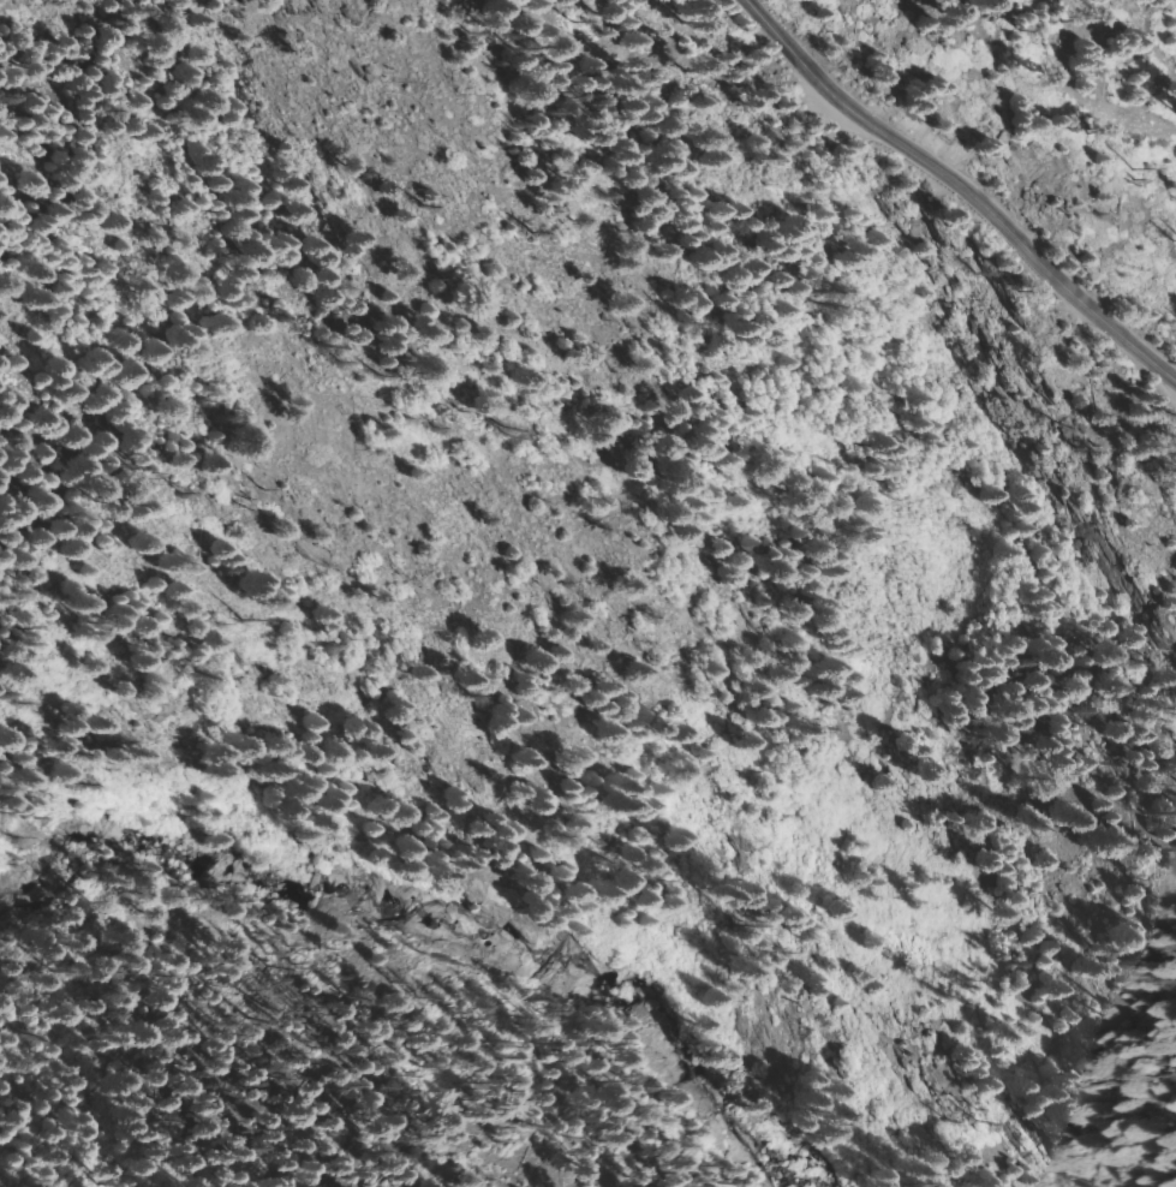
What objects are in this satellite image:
road: (968, 174)

